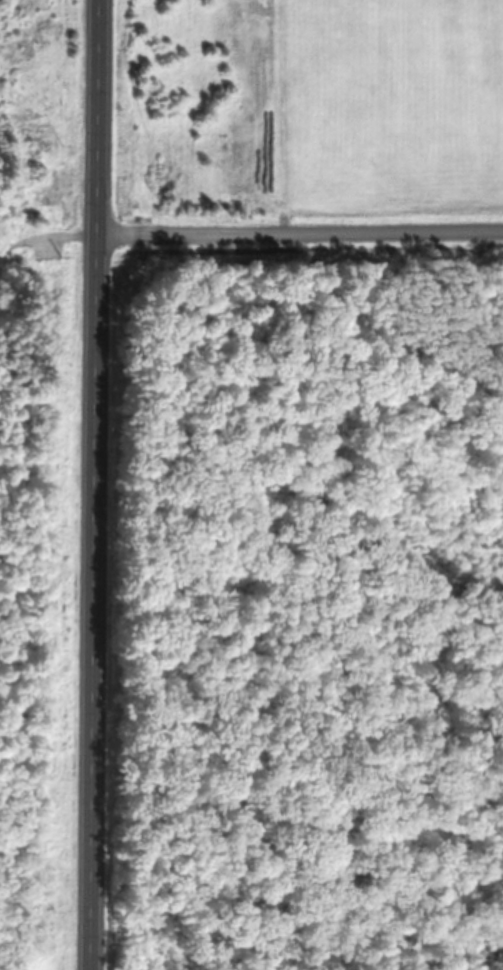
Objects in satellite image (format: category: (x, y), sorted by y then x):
road: (301, 234)
road: (97, 485)

